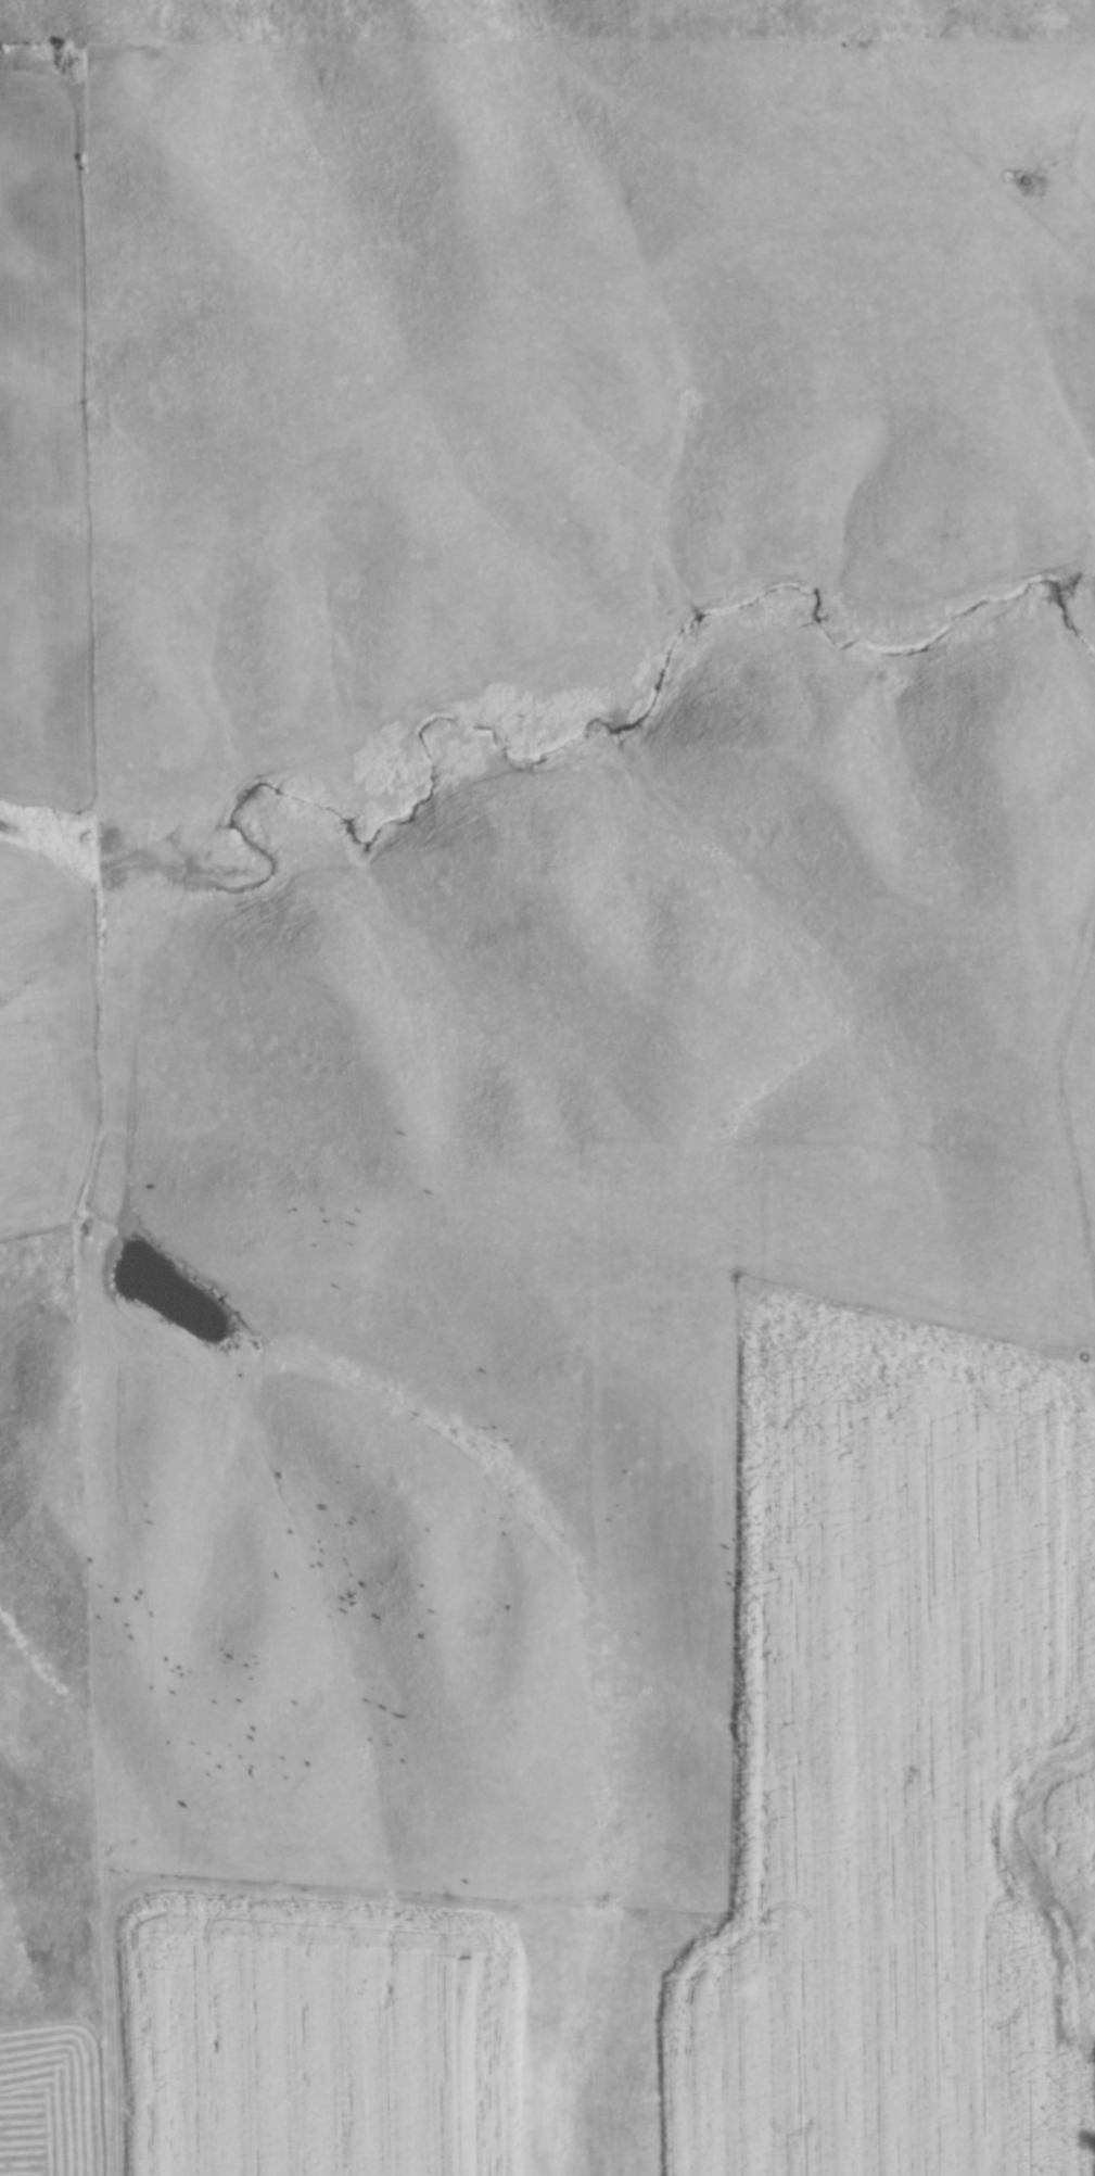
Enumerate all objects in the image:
crop: (899, 1767)
crop: (311, 2038)

